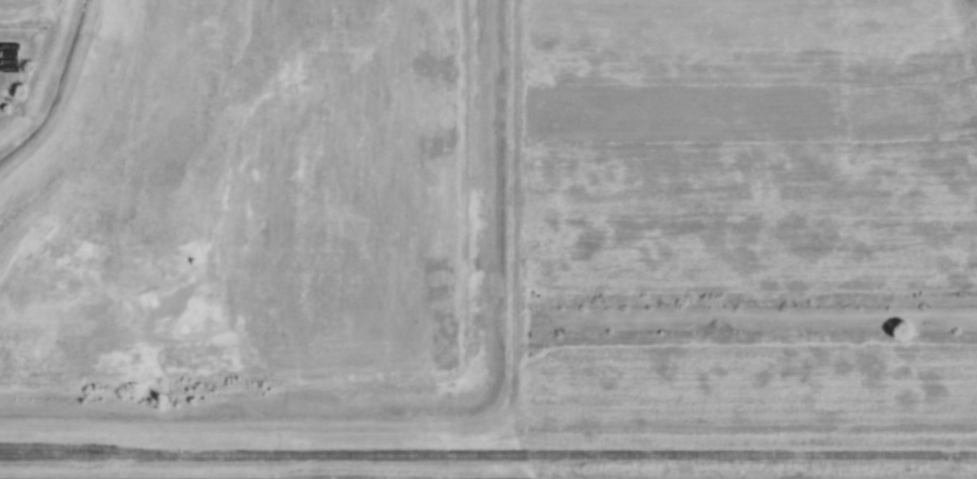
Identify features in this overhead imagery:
railway: (82, 449)
railway: (488, 457)

